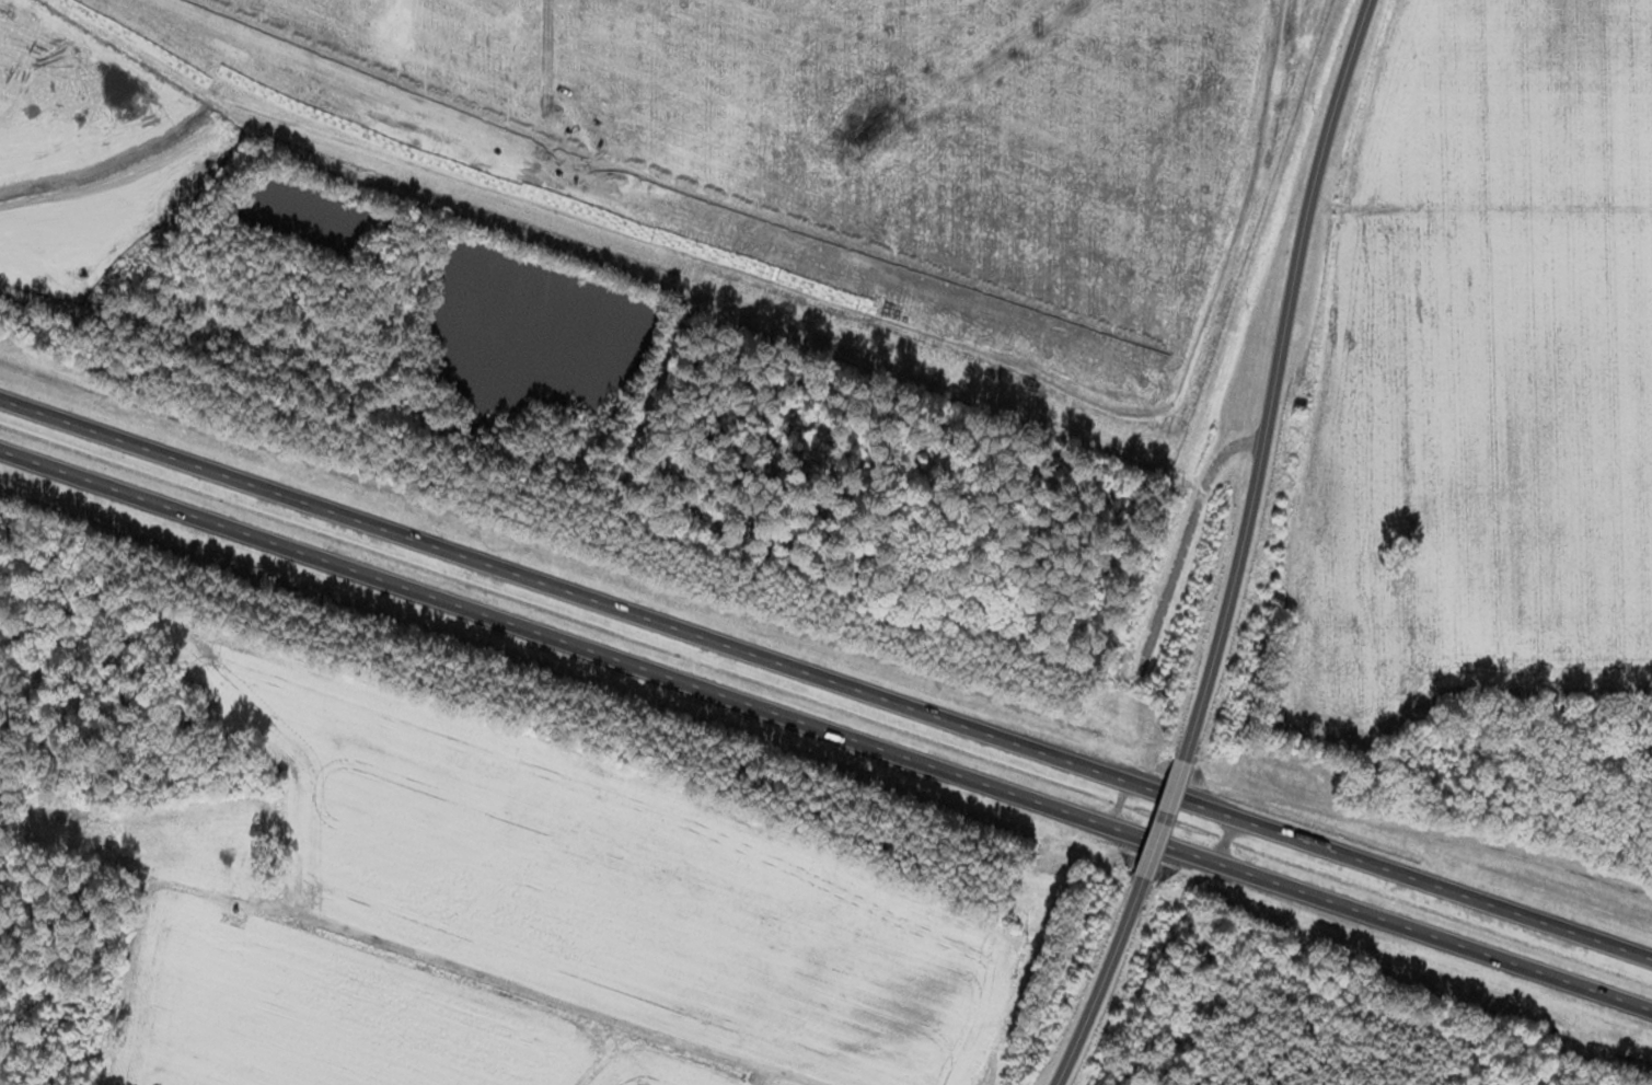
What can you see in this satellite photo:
solar farm: (747, 147)
road: (1273, 379)
road: (824, 678)
road: (827, 731)
road: (1165, 823)
road: (557, 981)
road: (1096, 984)

